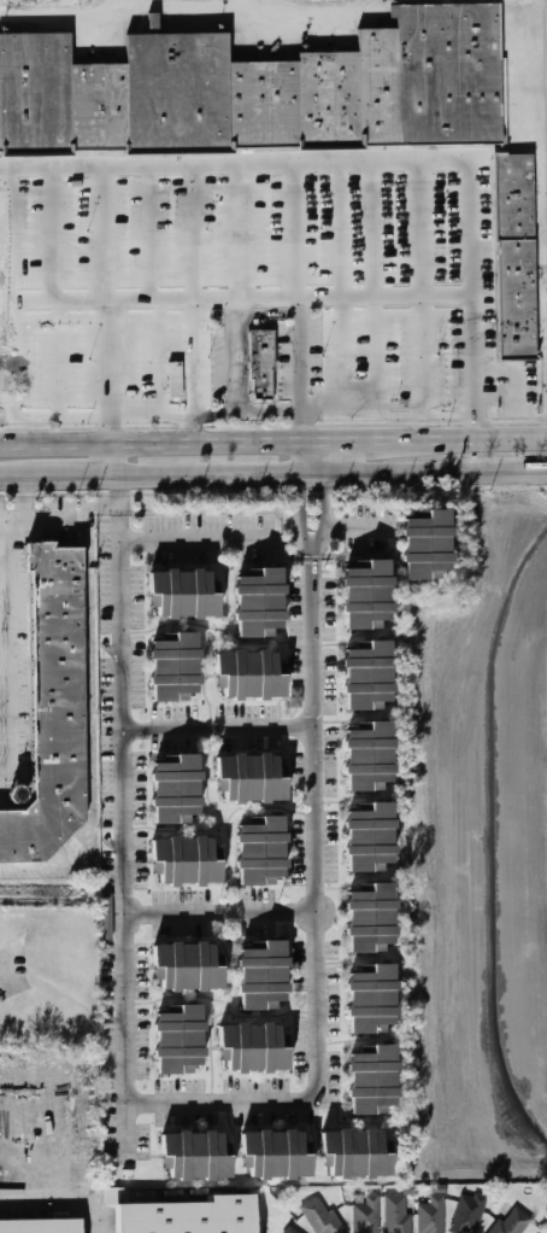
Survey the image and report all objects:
road: (125, 6)
road: (246, 6)
road: (184, 11)
building: (154, 21)
building: (504, 89)
building: (259, 92)
road: (371, 166)
building: (98, 168)
road: (263, 229)
road: (301, 229)
road: (227, 232)
road: (192, 233)
road: (155, 234)
road: (112, 235)
road: (2, 236)
road: (35, 236)
road: (69, 236)
building: (517, 257)
road: (417, 288)
road: (378, 290)
road: (341, 291)
road: (236, 293)
road: (305, 352)
road: (234, 355)
road: (194, 356)
road: (157, 357)
road: (112, 358)
road: (70, 360)
road: (2, 361)
road: (35, 361)
building: (264, 362)
building: (178, 380)
road: (393, 411)
road: (245, 415)
road: (70, 416)
road: (153, 416)
road: (308, 427)
road: (486, 437)
road: (372, 438)
road: (214, 442)
road: (54, 444)
road: (300, 456)
road: (320, 456)
road: (111, 460)
road: (122, 460)
road: (329, 474)
road: (71, 477)
road: (16, 478)
road: (122, 496)
road: (300, 509)
road: (322, 509)
road: (60, 514)
road: (358, 526)
road: (199, 539)
building: (427, 545)
road: (312, 550)
road: (346, 555)
building: (183, 592)
building: (366, 595)
building: (259, 603)
road: (175, 624)
road: (369, 635)
road: (298, 642)
road: (6, 651)
building: (173, 668)
building: (248, 676)
building: (367, 677)
building: (296, 696)
building: (53, 709)
road: (208, 721)
road: (218, 726)
building: (367, 758)
road: (212, 777)
building: (251, 778)
building: (175, 790)
road: (223, 822)
road: (127, 835)
building: (370, 838)
building: (261, 853)
building: (186, 861)
road: (370, 878)
road: (345, 887)
road: (220, 912)
building: (107, 917)
building: (370, 919)
road: (316, 923)
road: (20, 946)
road: (343, 959)
road: (371, 959)
road: (228, 960)
building: (187, 966)
building: (263, 977)
parking lot: (13, 986)
road: (177, 995)
building: (371, 1000)
road: (220, 1011)
road: (372, 1040)
road: (343, 1041)
building: (178, 1042)
building: (253, 1048)
building: (372, 1081)
building: (276, 1155)
building: (355, 1155)
building: (196, 1156)
building: (4, 1173)
building: (470, 1211)
building: (367, 1214)
building: (399, 1214)
building: (434, 1215)
building: (187, 1216)
building: (323, 1216)
building: (513, 1222)
building: (41, 1226)
building: (290, 1231)

